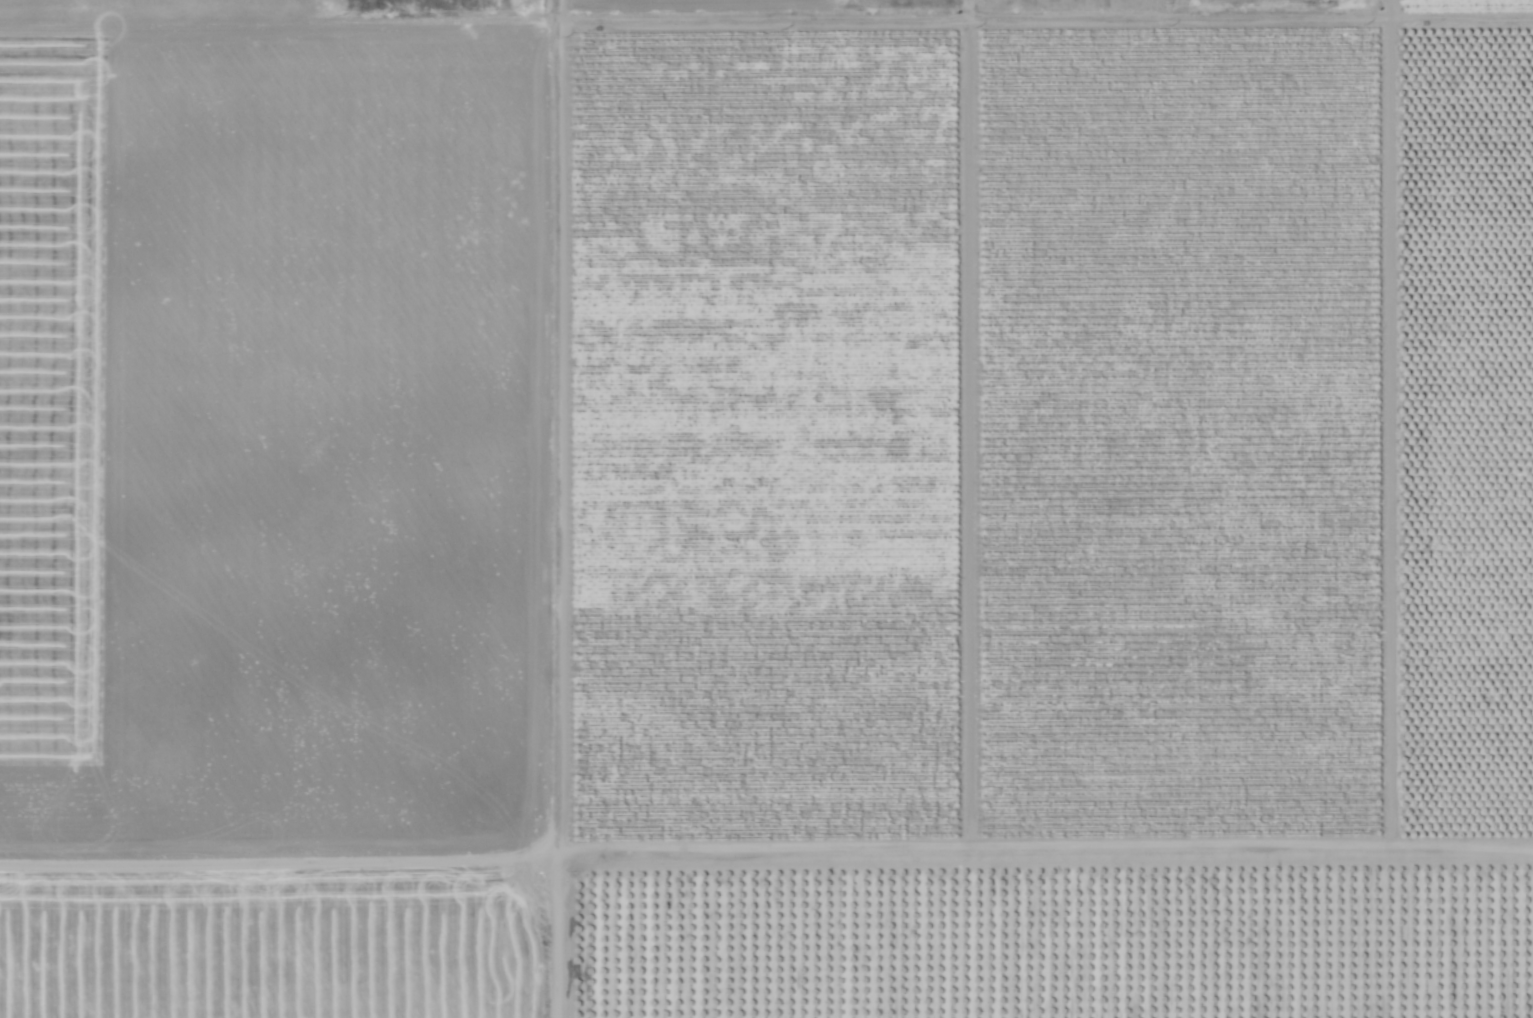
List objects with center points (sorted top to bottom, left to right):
road: (567, 509)
road: (766, 856)

